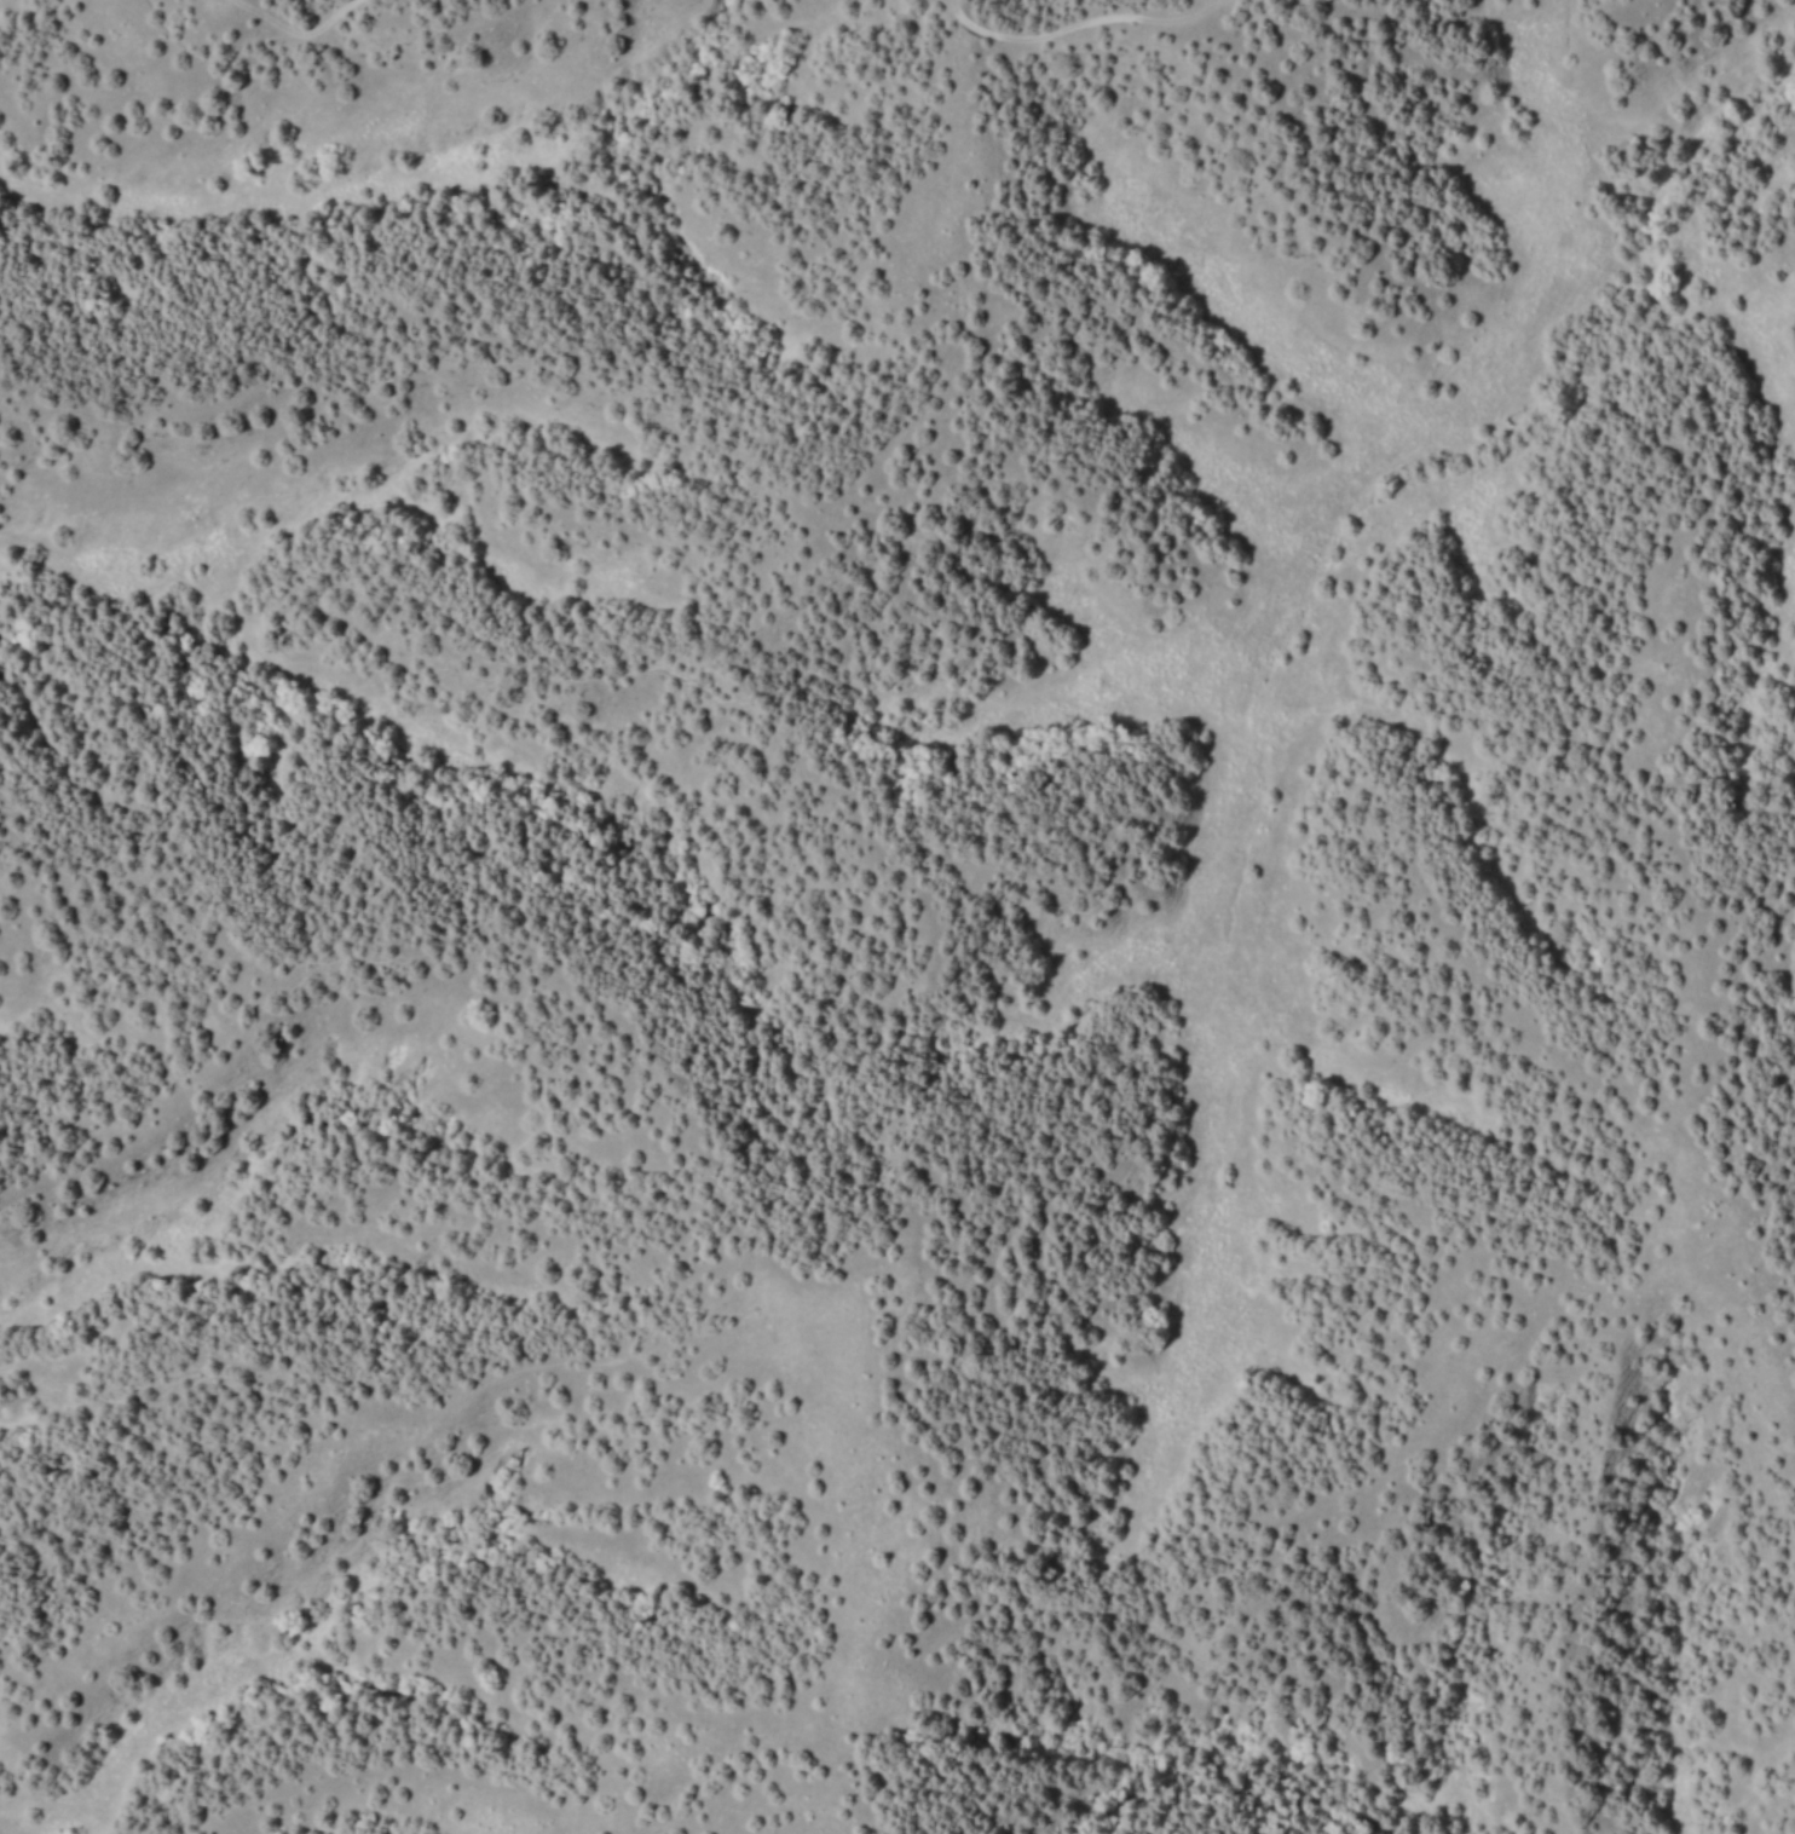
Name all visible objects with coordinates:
road: (10, 1824)

